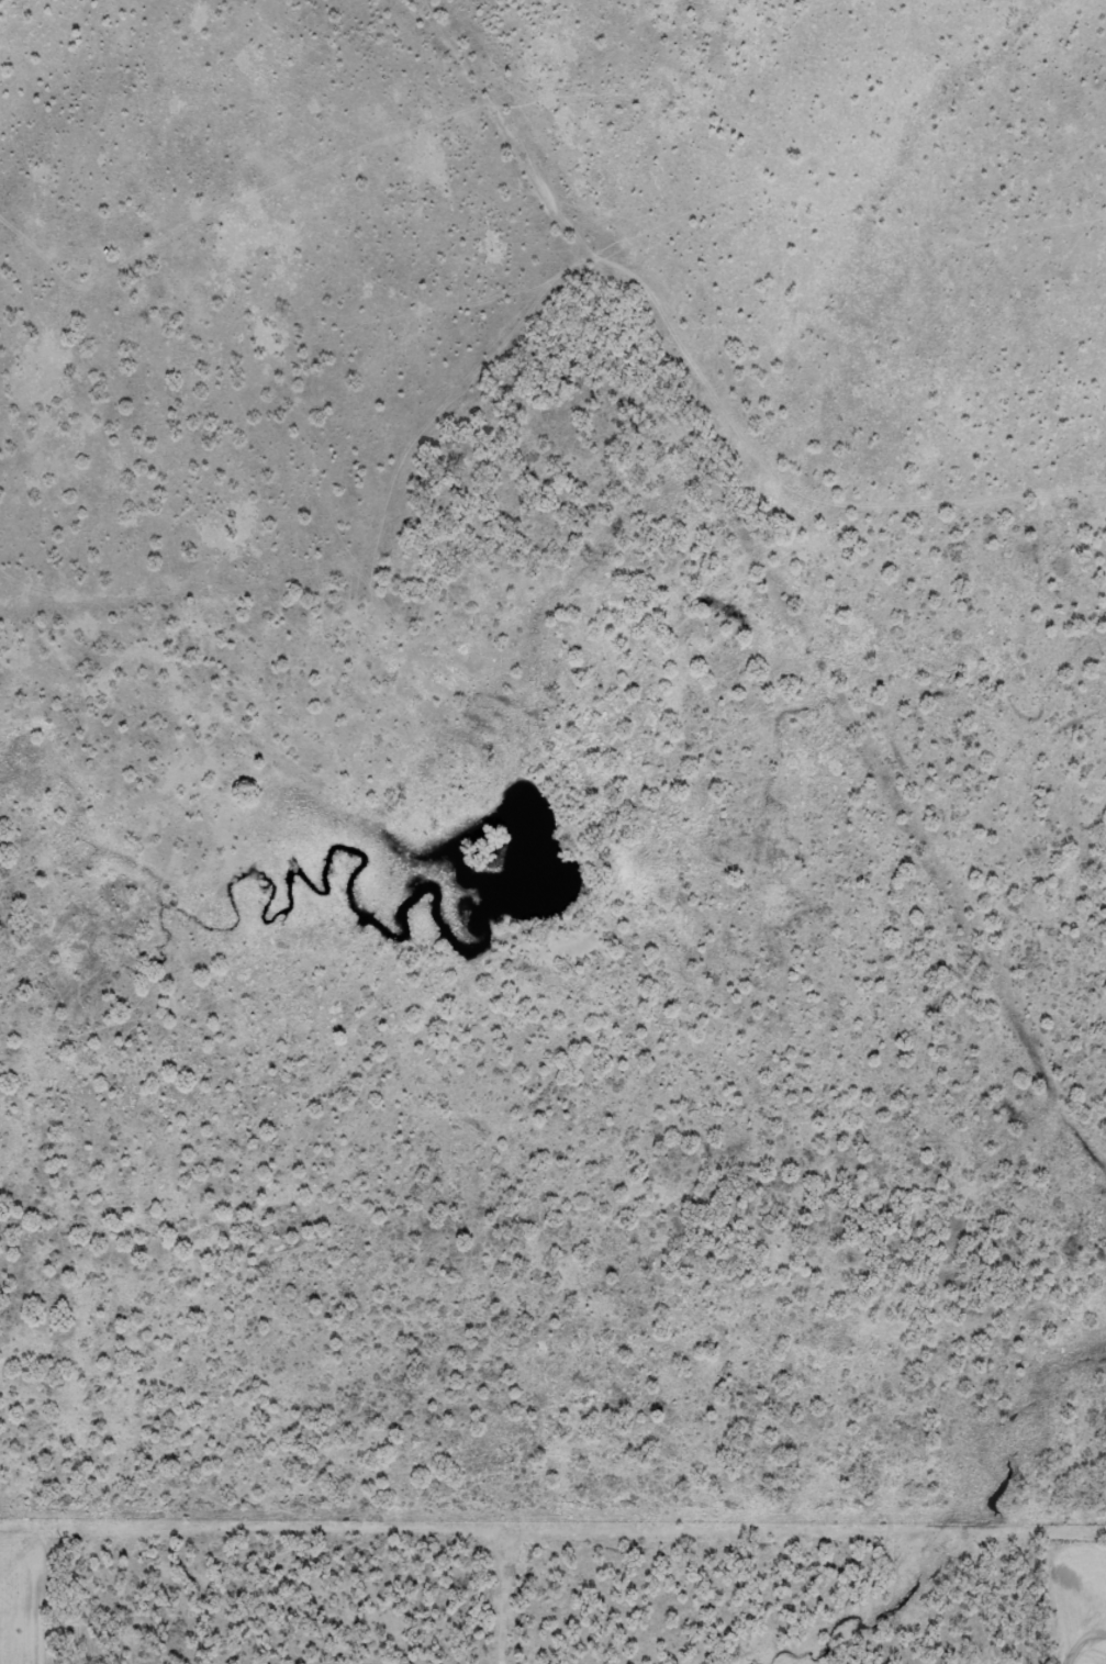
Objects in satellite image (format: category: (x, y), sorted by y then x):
road: (1059, 1293)

